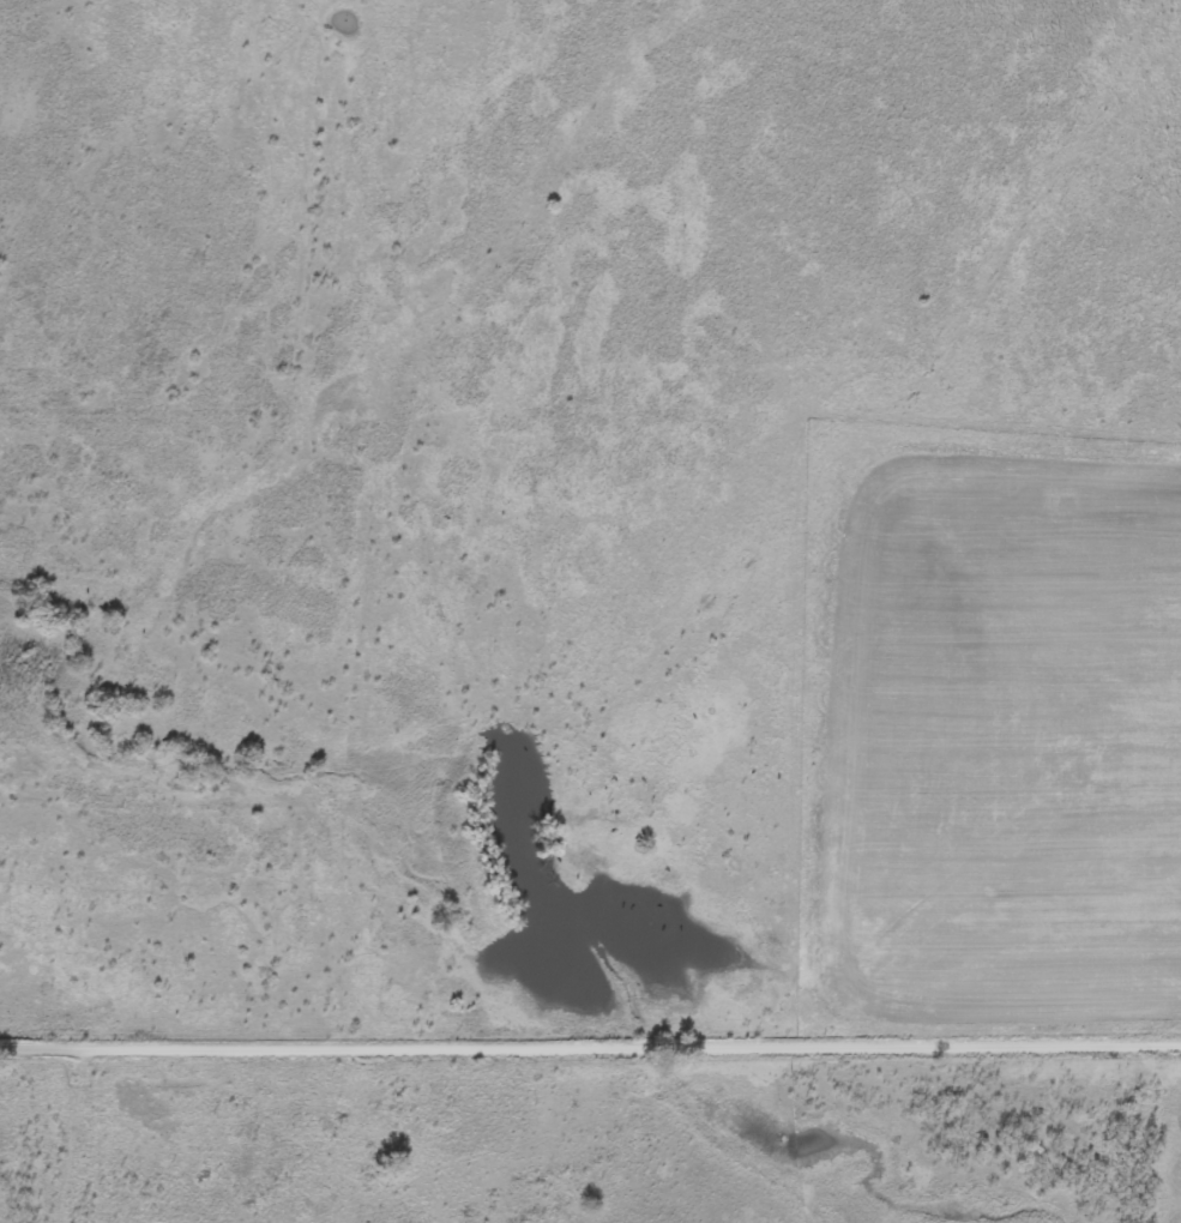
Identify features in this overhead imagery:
road: (590, 1048)

